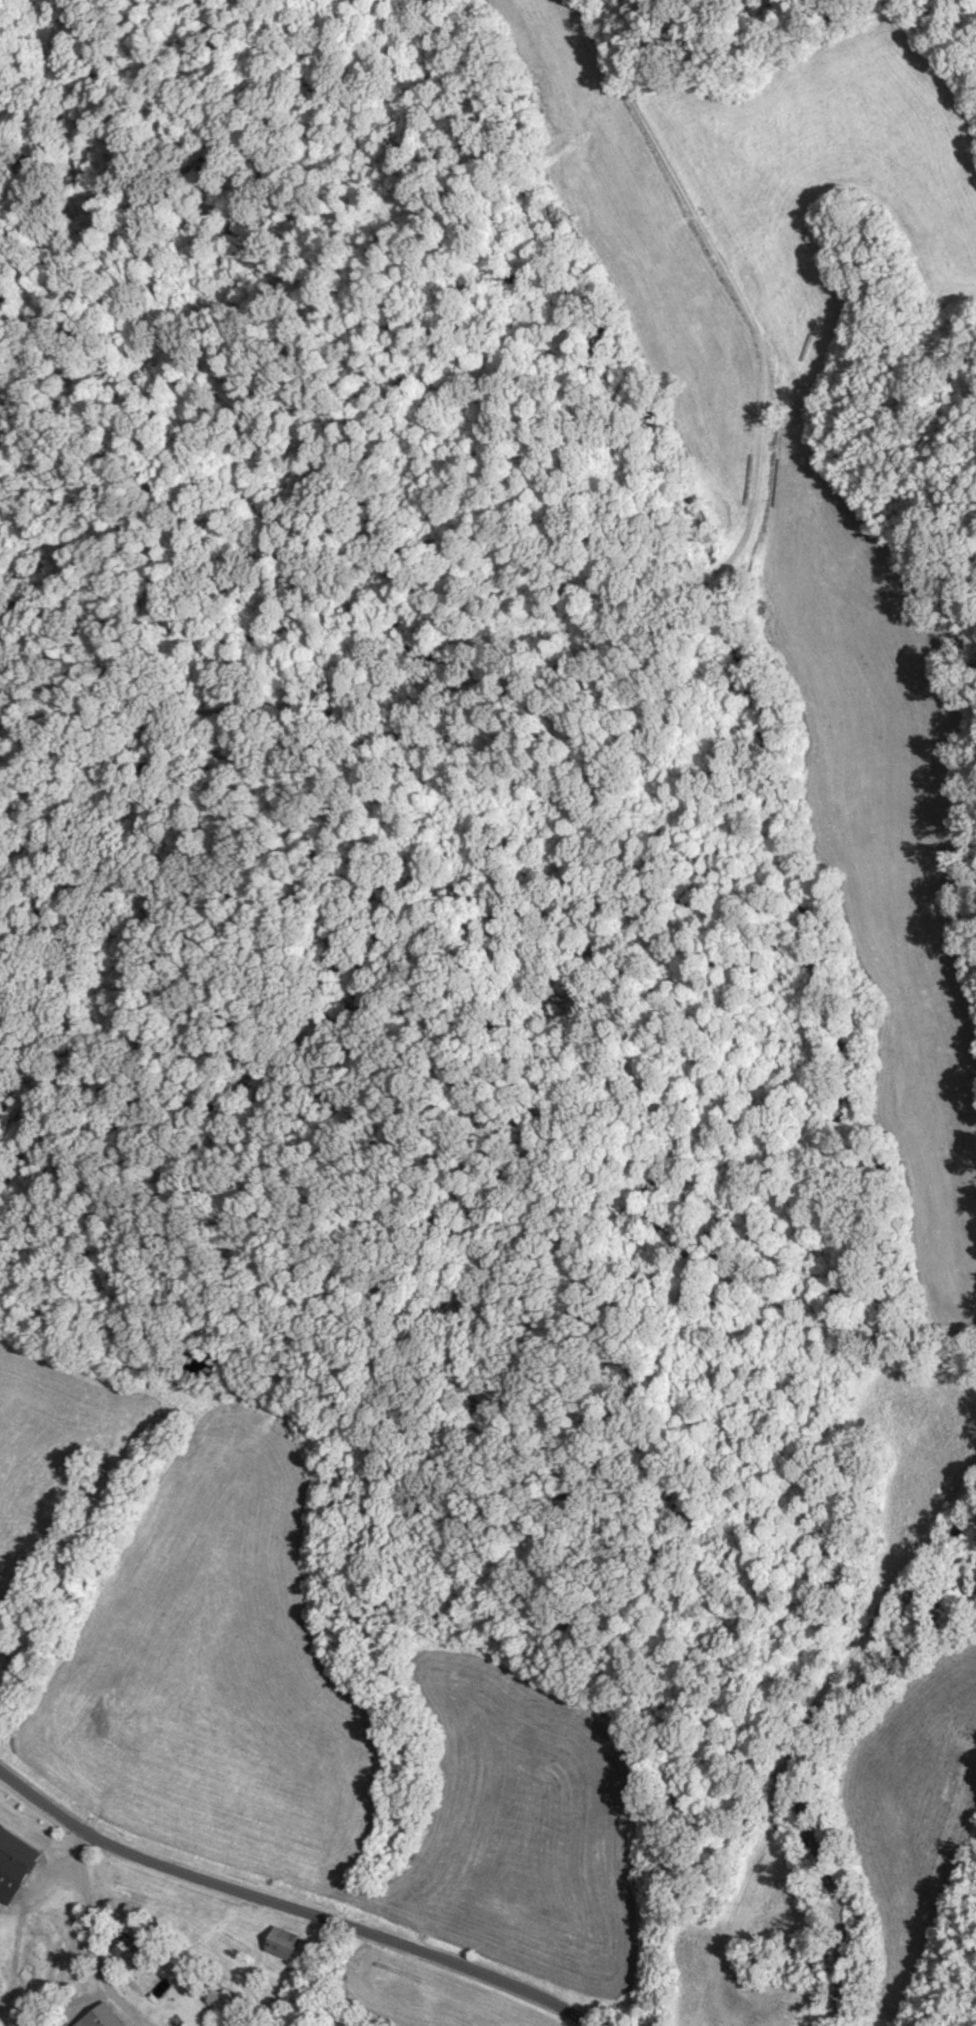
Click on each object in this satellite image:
building: (14, 1862)
road: (299, 1890)
road: (95, 1930)
building: (282, 1942)
building: (130, 1951)
building: (98, 2019)

